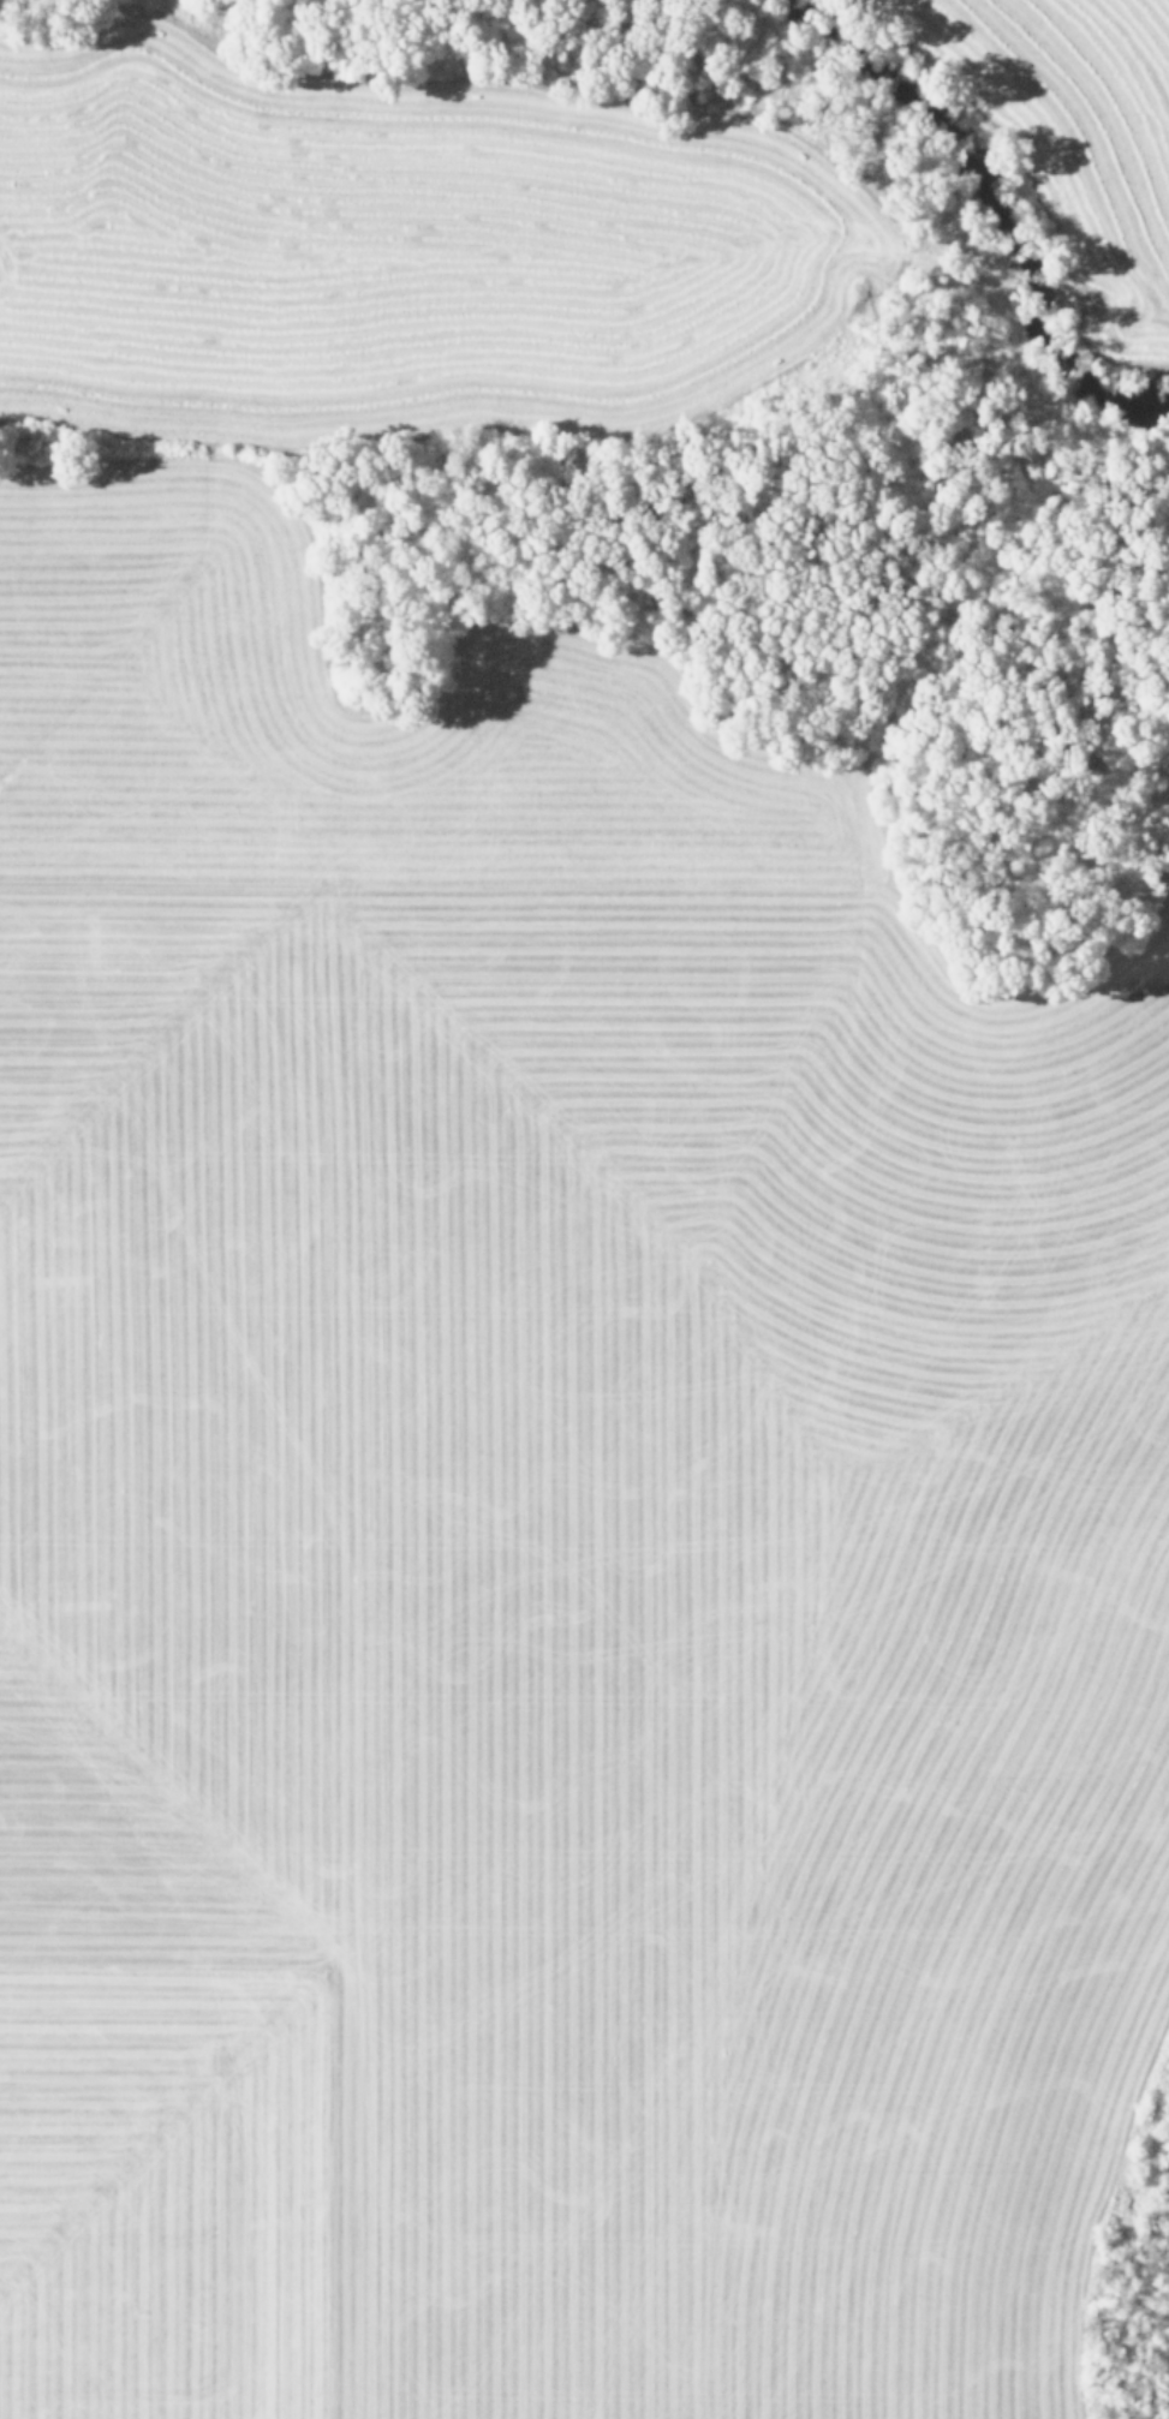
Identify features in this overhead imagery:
crop: (377, 235)
crop: (543, 1541)

